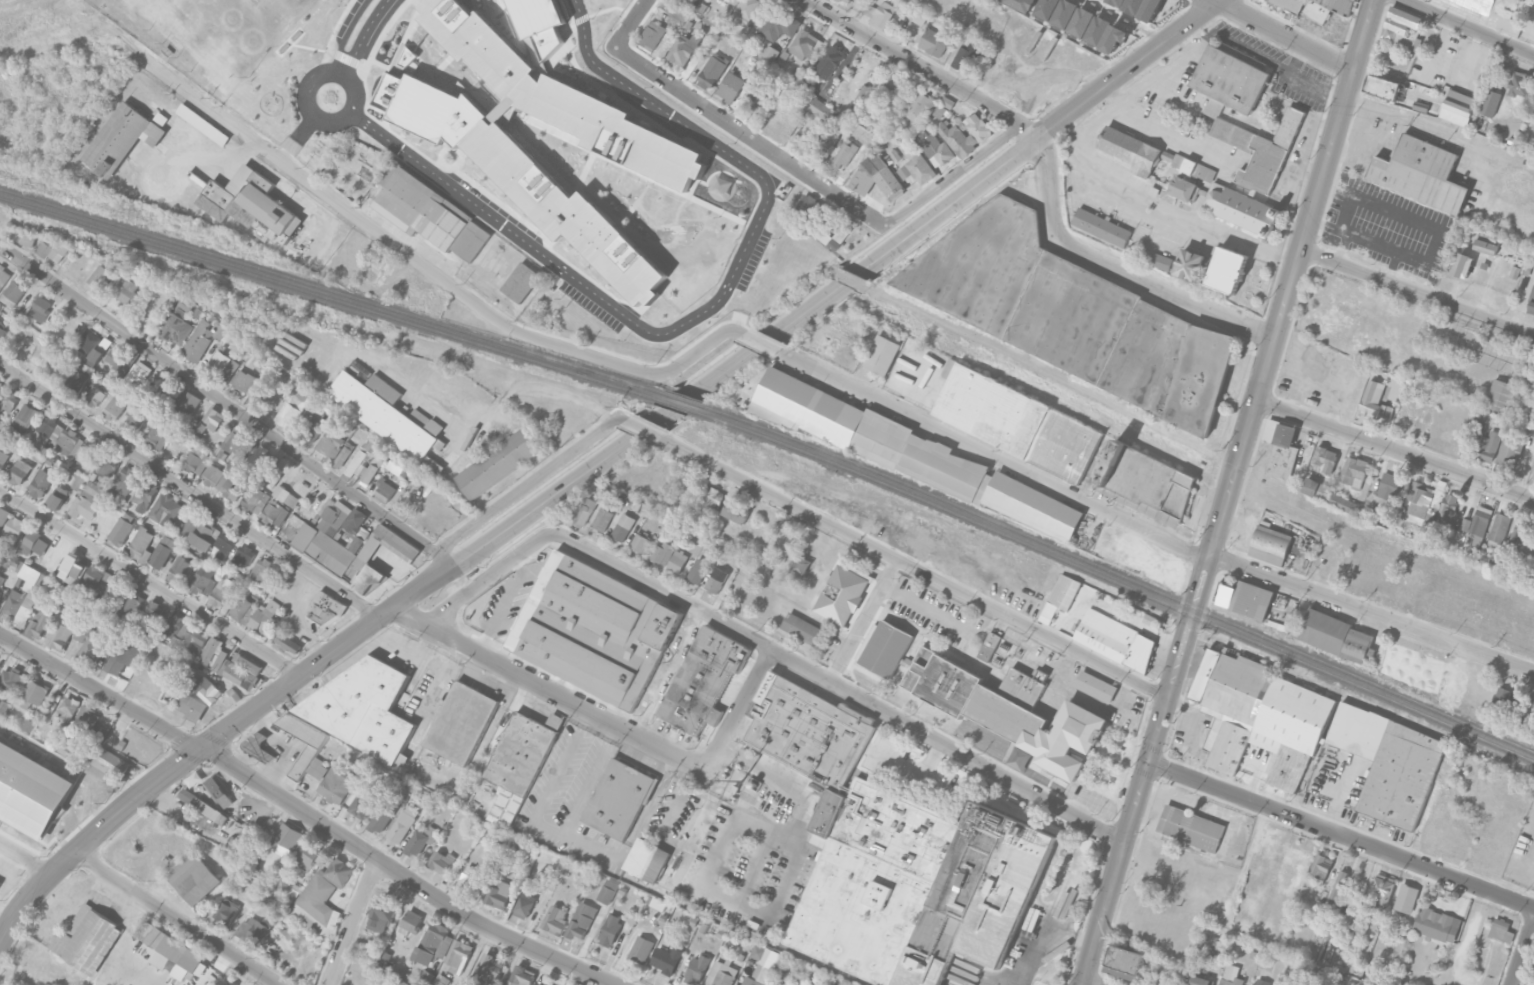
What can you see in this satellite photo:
building: (862, 0)
building: (844, 1)
building: (1116, 2)
building: (1022, 4)
building: (1290, 5)
building: (1133, 6)
building: (748, 8)
building: (1046, 8)
building: (1327, 8)
building: (1151, 10)
building: (1064, 13)
building: (1494, 14)
building: (882, 15)
building: (1081, 21)
road: (1122, 21)
road: (631, 22)
building: (779, 25)
building: (1402, 28)
road: (1467, 28)
building: (1097, 30)
park: (222, 32)
road: (345, 34)
road: (1284, 34)
building: (651, 35)
road: (363, 36)
building: (1114, 38)
building: (934, 42)
building: (806, 45)
road: (1531, 46)
building: (684, 49)
building: (768, 53)
building: (833, 56)
building: (966, 57)
road: (921, 67)
building: (713, 70)
road: (343, 76)
building: (1230, 79)
building: (1519, 85)
road: (1145, 86)
building: (1382, 86)
building: (731, 87)
building: (891, 87)
building: (762, 94)
building: (1489, 103)
building: (919, 106)
building: (943, 106)
building: (1213, 107)
building: (1458, 107)
building: (820, 109)
building: (775, 114)
building: (1533, 120)
building: (790, 123)
building: (203, 124)
road: (1155, 127)
road: (1371, 127)
building: (953, 134)
building: (117, 139)
road: (296, 139)
building: (825, 143)
building: (1128, 149)
building: (937, 150)
building: (1260, 150)
building: (844, 154)
building: (656, 157)
building: (892, 157)
building: (1191, 166)
building: (917, 167)
building: (1420, 173)
building: (874, 177)
road: (819, 181)
building: (1183, 188)
building: (249, 203)
building: (809, 205)
building: (1241, 209)
building: (430, 215)
road: (1158, 215)
building: (1101, 226)
parking lot: (1378, 231)
building: (825, 237)
building: (839, 238)
building: (28, 239)
building: (1486, 245)
building: (52, 249)
building: (1161, 261)
building: (1189, 264)
building: (1462, 265)
road: (423, 267)
road: (1119, 267)
building: (1226, 269)
building: (3, 276)
building: (99, 276)
building: (521, 282)
railway: (331, 289)
building: (127, 291)
building: (13, 293)
road: (1417, 293)
railway: (327, 297)
building: (1531, 303)
building: (40, 308)
building: (1067, 312)
road: (700, 313)
building: (179, 321)
building: (3, 329)
building: (202, 338)
road: (757, 343)
building: (90, 347)
building: (881, 353)
building: (36, 358)
building: (121, 361)
building: (221, 364)
building: (138, 372)
building: (1531, 374)
parking lot: (1313, 379)
building: (77, 380)
building: (0, 381)
building: (245, 382)
road: (537, 386)
building: (1501, 395)
building: (94, 397)
railway: (681, 399)
building: (8, 401)
building: (1375, 401)
building: (187, 404)
road: (228, 405)
railway: (673, 405)
building: (808, 406)
building: (116, 407)
building: (292, 409)
building: (389, 415)
building: (25, 416)
building: (213, 418)
building: (1018, 422)
building: (133, 423)
building: (1478, 426)
building: (314, 427)
road: (642, 428)
building: (47, 431)
building: (1, 435)
building: (156, 435)
building: (331, 442)
building: (230, 444)
building: (1487, 446)
building: (77, 447)
road: (1395, 449)
building: (1282, 453)
road: (992, 454)
building: (1508, 454)
building: (343, 455)
building: (362, 457)
building: (920, 457)
building: (109, 458)
building: (1325, 458)
building: (4, 459)
road: (599, 459)
building: (196, 461)
building: (498, 462)
building: (257, 464)
building: (401, 466)
building: (104, 469)
building: (1353, 469)
building: (371, 471)
building: (19, 472)
building: (126, 480)
road: (529, 480)
building: (1146, 480)
building: (78, 481)
building: (225, 482)
building: (41, 483)
building: (1388, 486)
building: (1317, 489)
road: (190, 490)
building: (385, 491)
road: (1227, 492)
building: (145, 493)
building: (286, 496)
building: (57, 497)
building: (712, 497)
building: (88, 500)
building: (255, 500)
building: (1422, 503)
building: (1344, 504)
building: (1033, 506)
building: (1447, 508)
building: (165, 509)
building: (735, 511)
building: (584, 512)
building: (274, 514)
building: (3, 516)
building: (602, 519)
building: (1480, 520)
road: (1328, 524)
building: (1465, 524)
building: (622, 527)
building: (1499, 527)
building: (124, 528)
building: (13, 529)
building: (213, 539)
building: (33, 543)
building: (141, 544)
building: (641, 544)
building: (1517, 545)
building: (1271, 546)
building: (163, 551)
building: (661, 552)
building: (244, 554)
building: (1142, 557)
building: (677, 561)
road: (914, 567)
building: (180, 568)
building: (73, 569)
building: (262, 569)
building: (698, 570)
railway: (1118, 573)
building: (1533, 573)
road: (489, 575)
park: (1401, 576)
building: (1, 579)
building: (203, 580)
railway: (1114, 582)
building: (102, 583)
building: (714, 584)
road: (149, 585)
building: (0, 589)
building: (221, 591)
road: (665, 591)
building: (840, 594)
building: (26, 595)
building: (1059, 597)
building: (1244, 598)
building: (131, 604)
building: (240, 605)
building: (324, 607)
building: (151, 613)
road: (1371, 614)
building: (265, 617)
road: (862, 619)
building: (39, 623)
building: (176, 626)
building: (802, 628)
building: (593, 629)
building: (64, 630)
building: (80, 635)
building: (1335, 636)
building: (195, 640)
building: (1115, 640)
building: (288, 642)
building: (93, 645)
building: (989, 646)
building: (213, 653)
building: (124, 656)
building: (247, 663)
building: (237, 673)
building: (12, 680)
building: (702, 681)
building: (1095, 686)
building: (204, 689)
road: (550, 692)
building: (33, 694)
building: (989, 700)
building: (1498, 704)
building: (67, 705)
building: (1517, 705)
building: (191, 706)
building: (362, 708)
road: (740, 712)
building: (1531, 712)
building: (1259, 716)
building: (86, 718)
building: (461, 722)
road: (1197, 728)
building: (808, 730)
building: (68, 741)
building: (306, 746)
road: (948, 746)
building: (259, 747)
traffic signals: (200, 749)
traffic signals: (1149, 761)
building: (1388, 762)
building: (519, 763)
building: (109, 765)
road: (552, 779)
road: (590, 780)
road: (1177, 785)
building: (335, 786)
building: (31, 790)
road: (1150, 790)
building: (219, 793)
road: (1167, 794)
road: (676, 795)
building: (618, 799)
building: (363, 803)
building: (204, 806)
road: (307, 812)
building: (382, 817)
building: (701, 824)
building: (402, 825)
building: (1189, 828)
road: (635, 832)
road: (1341, 834)
building: (286, 839)
building: (421, 840)
parking lot: (1266, 842)
building: (246, 849)
building: (306, 854)
road: (26, 857)
building: (646, 860)
building: (440, 861)
building: (678, 867)
building: (1294, 868)
building: (1320, 868)
building: (473, 878)
building: (195, 879)
building: (1339, 883)
building: (914, 886)
building: (288, 888)
building: (1381, 890)
building: (608, 891)
building: (499, 893)
building: (321, 898)
building: (1406, 898)
building: (524, 905)
building: (227, 911)
road: (772, 914)
building: (381, 916)
road: (175, 918)
road: (351, 920)
building: (555, 920)
building: (412, 921)
building: (581, 921)
building: (1244, 924)
building: (1437, 924)
building: (610, 929)
building: (1501, 930)
building: (253, 931)
road: (1042, 935)
building: (88, 941)
building: (434, 943)
building: (1208, 947)
building: (168, 948)
building: (641, 949)
road: (1522, 951)
building: (758, 952)
building: (458, 955)
building: (666, 959)
road: (810, 959)
building: (1124, 962)
building: (697, 968)
building: (488, 971)
building: (721, 973)
building: (522, 976)
building: (758, 976)
building: (1230, 976)
building: (440, 980)
road: (1092, 981)
building: (1199, 981)
building: (1259, 981)
building: (226, 983)
building: (393, 984)
building: (541, 984)
building: (734, 984)

